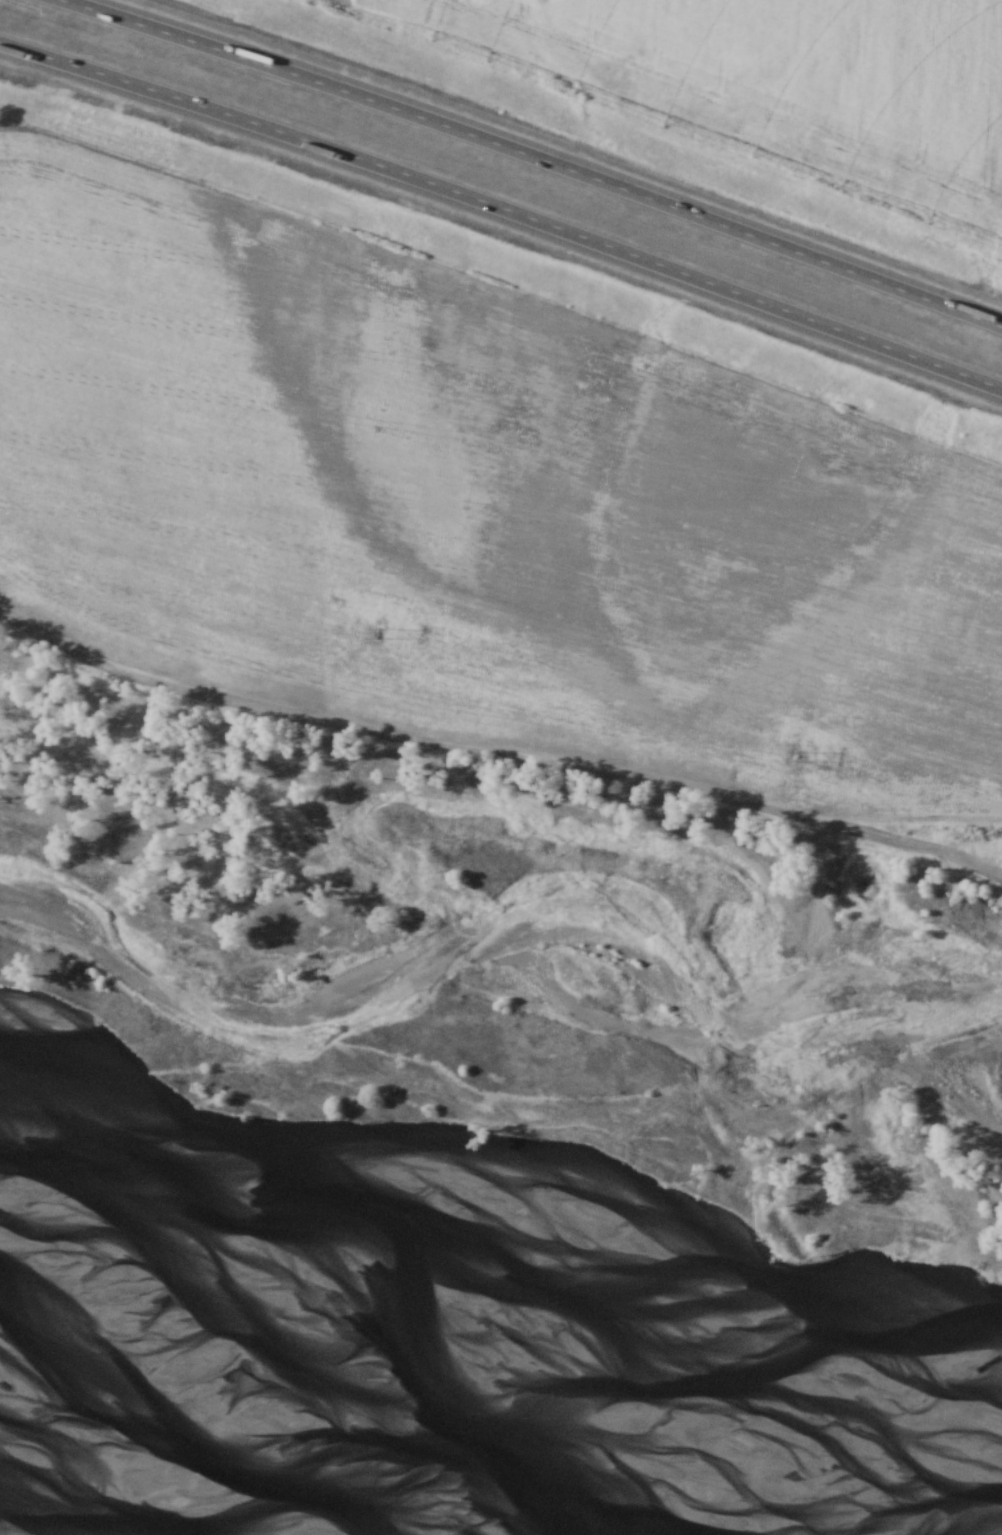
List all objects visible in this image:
road: (535, 157)
road: (503, 207)
power tower: (378, 635)
power tower: (796, 757)
river: (169, 1476)

